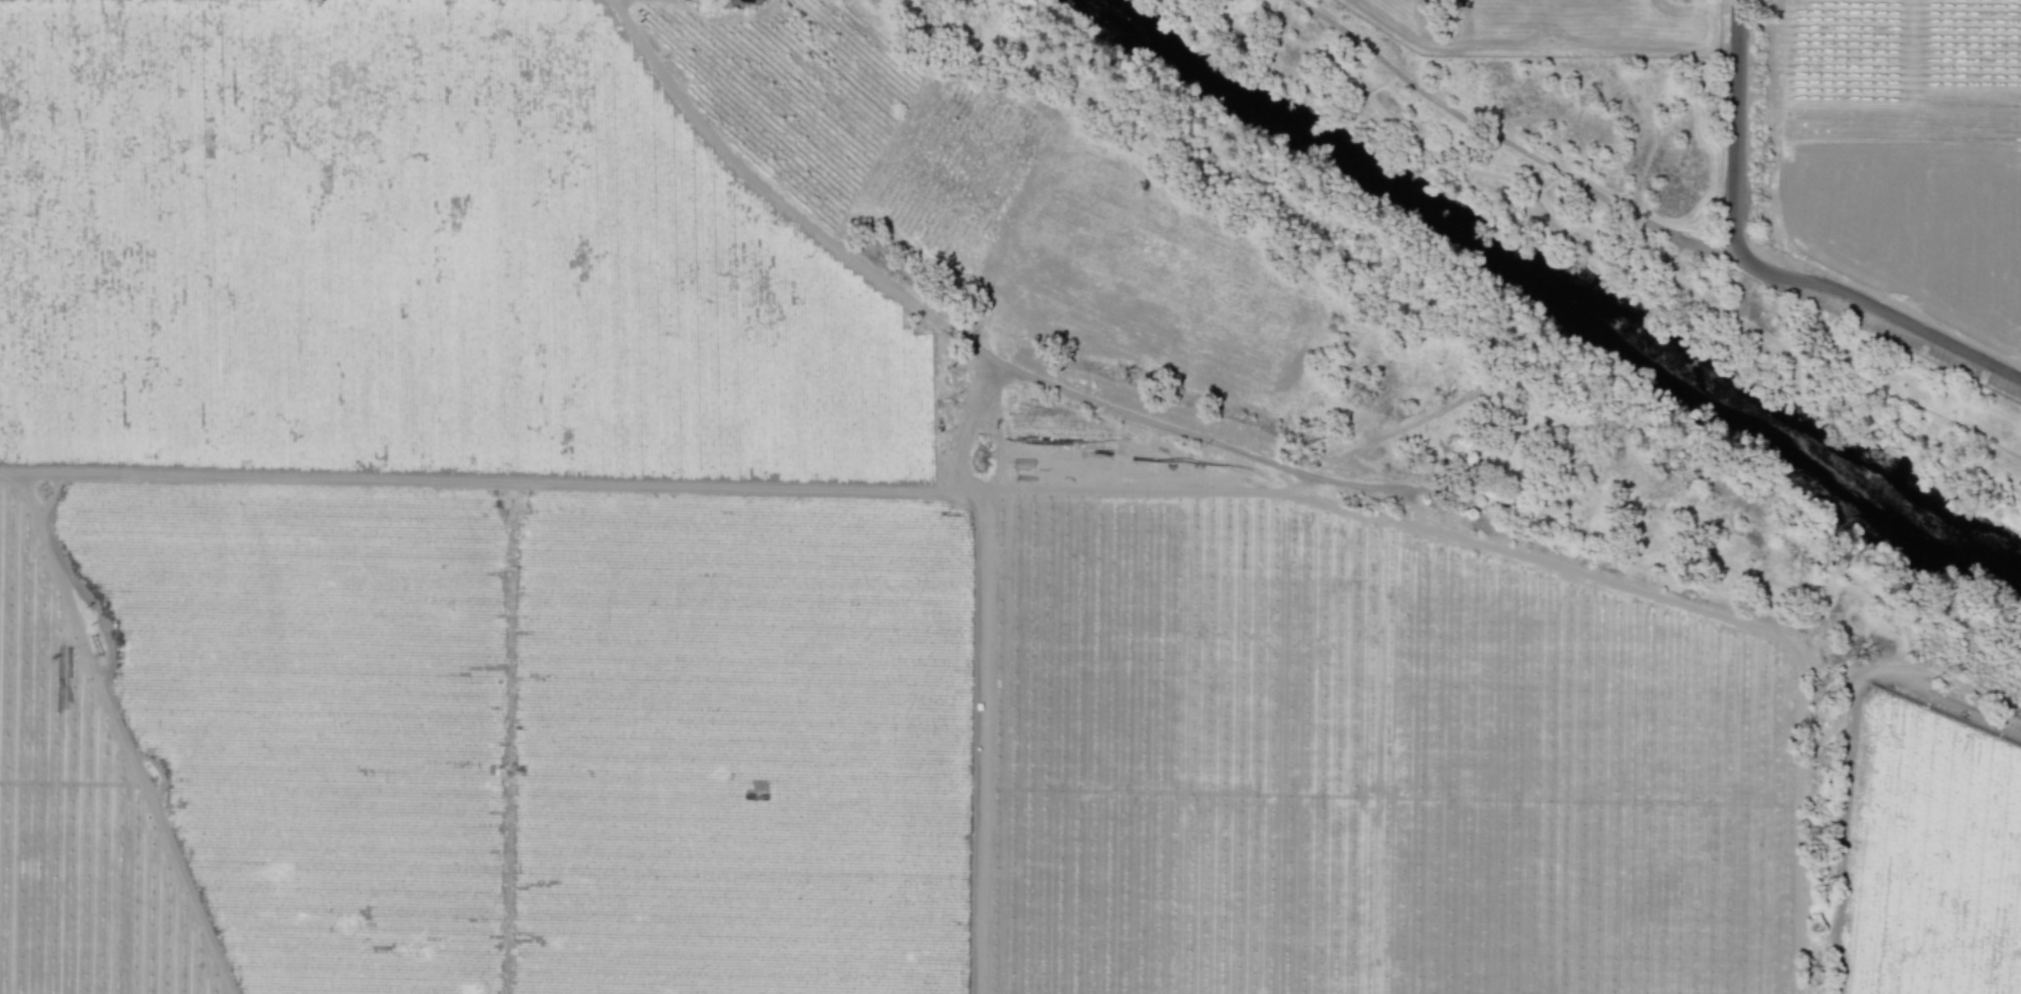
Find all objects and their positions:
building: (742, 1)
road: (1654, 51)
road: (1737, 129)
road: (1511, 145)
road: (1562, 236)
road: (1604, 236)
road: (1677, 256)
river: (1571, 277)
road: (921, 309)
road: (1883, 316)
road: (1829, 340)
road: (985, 429)
road: (1973, 474)
road: (911, 489)
building: (1496, 495)
road: (1941, 673)
road: (1801, 821)
road: (1843, 832)

